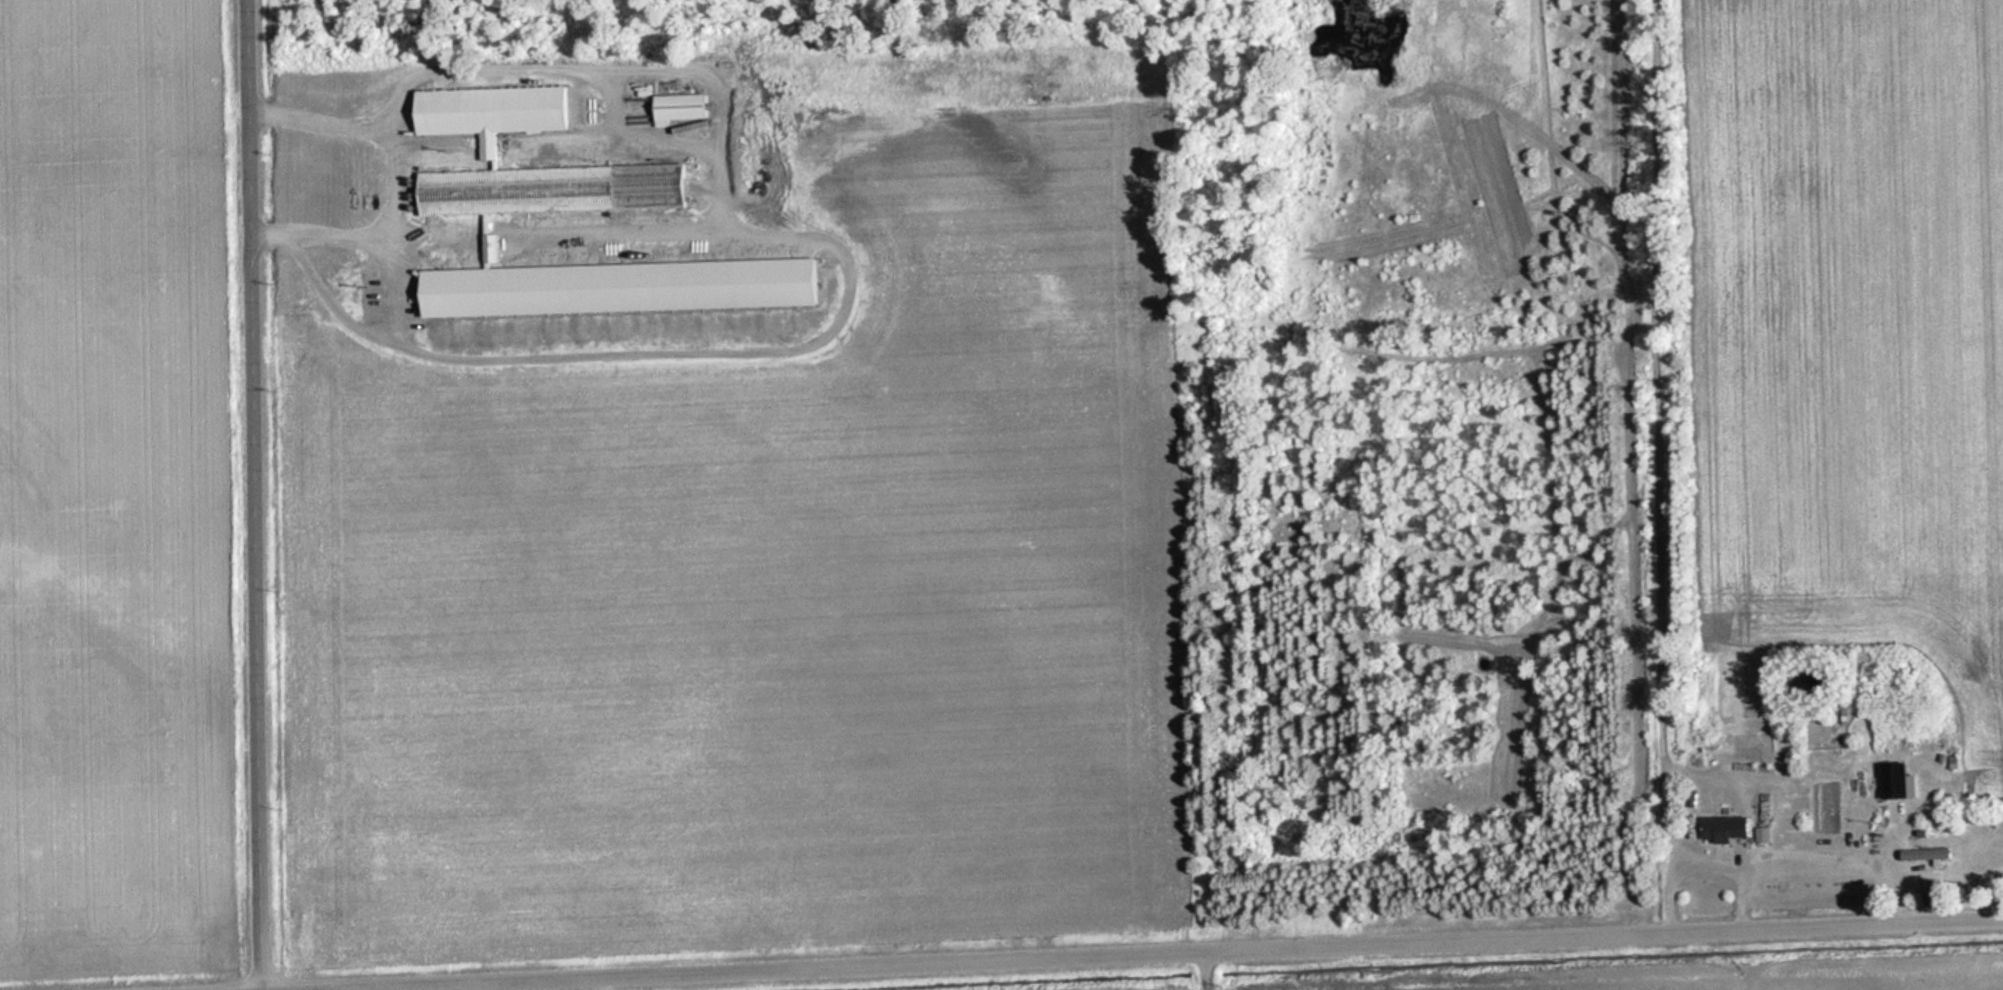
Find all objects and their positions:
building: (686, 107)
building: (491, 149)
road: (257, 495)
building: (1898, 781)
building: (1730, 830)
building: (1930, 856)
road: (1156, 954)

